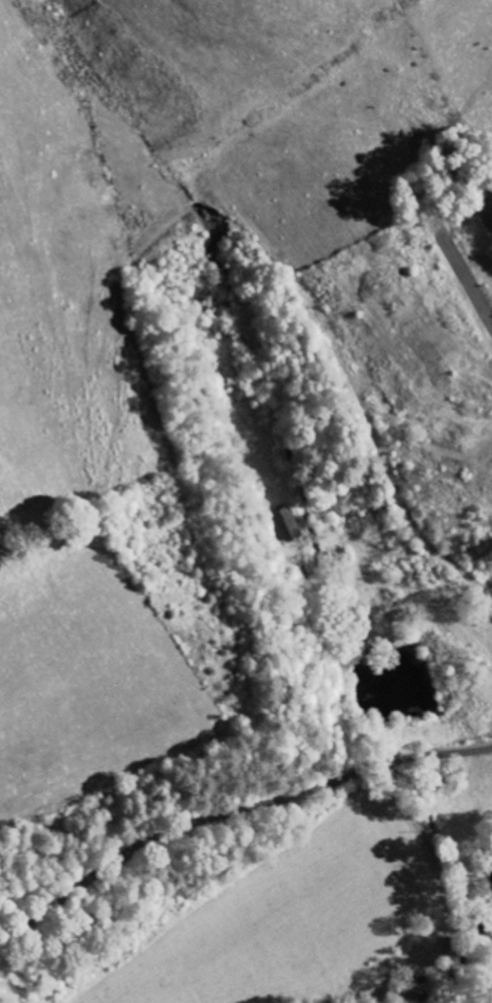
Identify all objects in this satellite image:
road: (233, 815)

